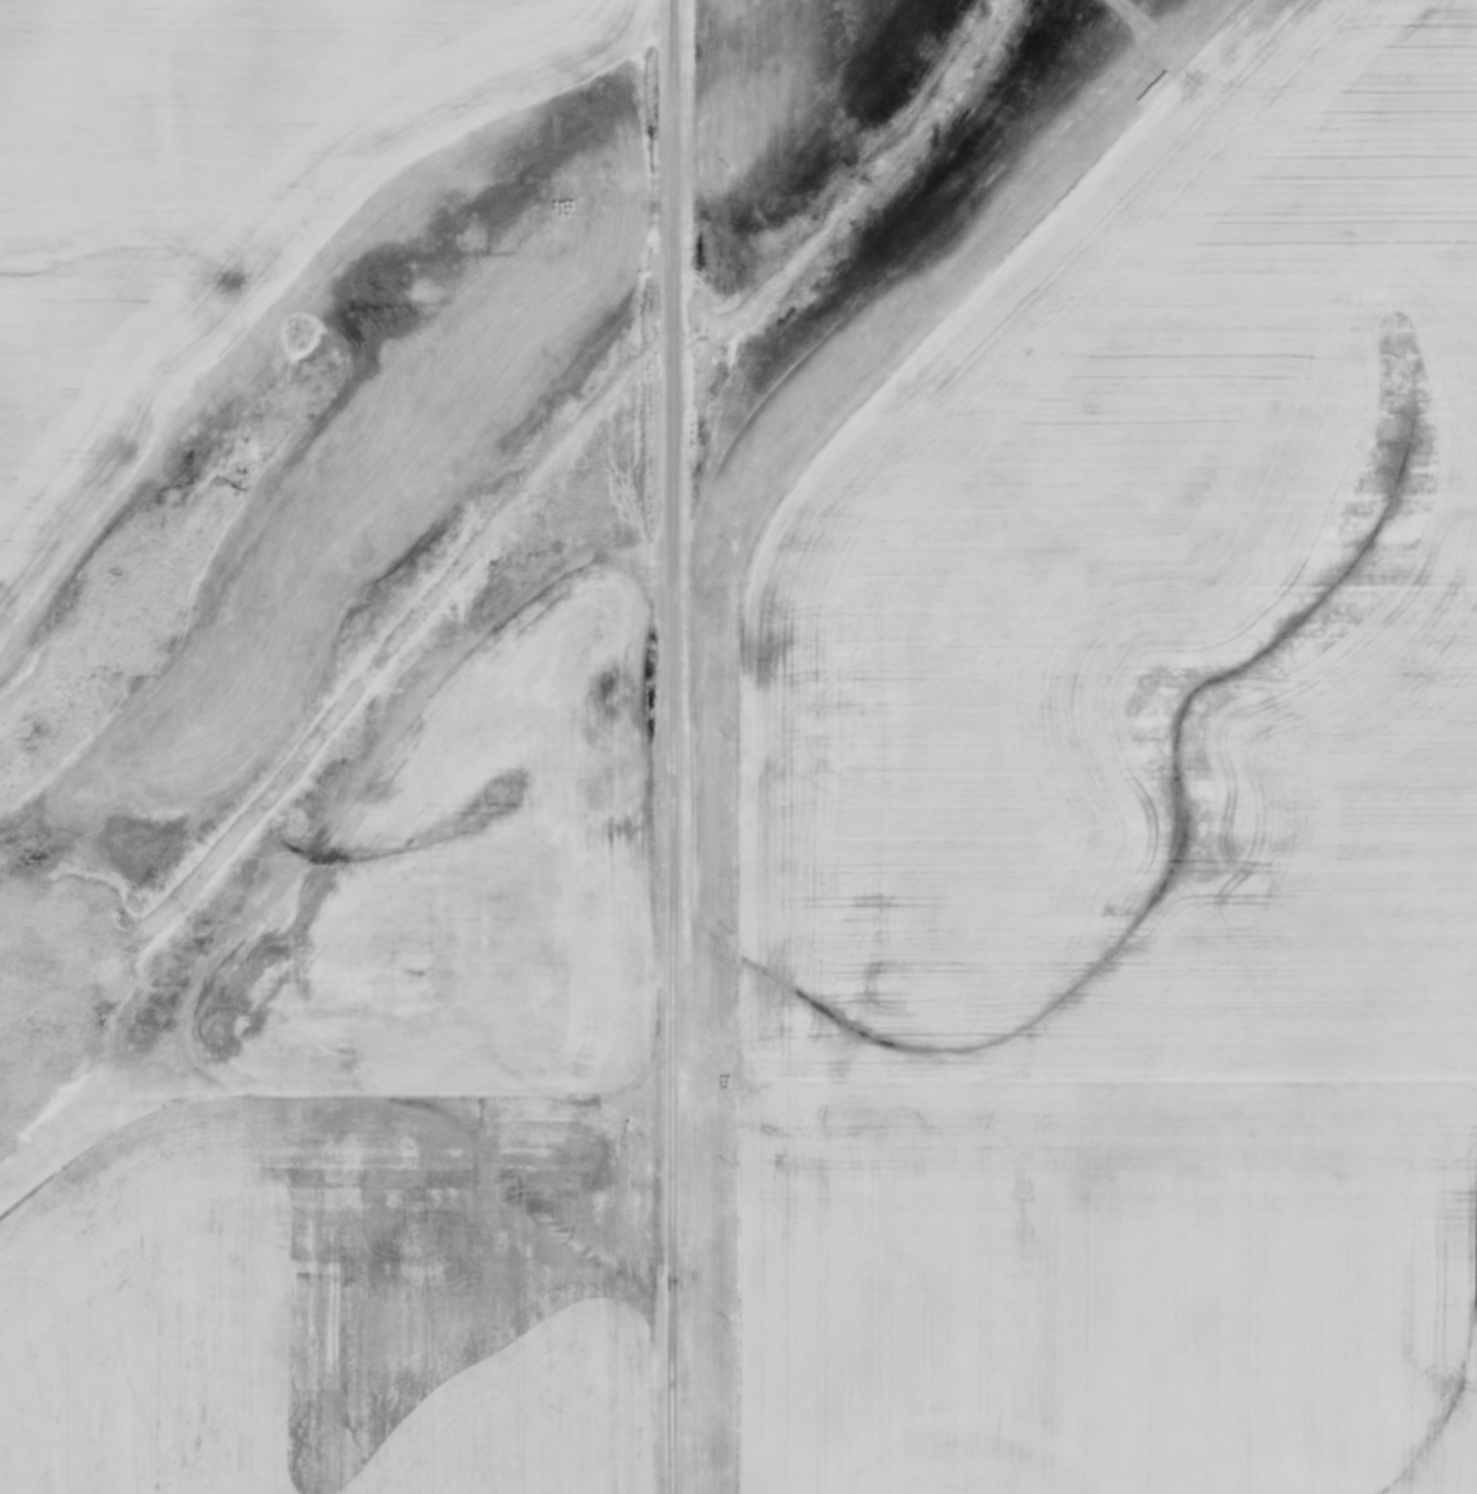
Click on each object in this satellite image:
road: (675, 746)

